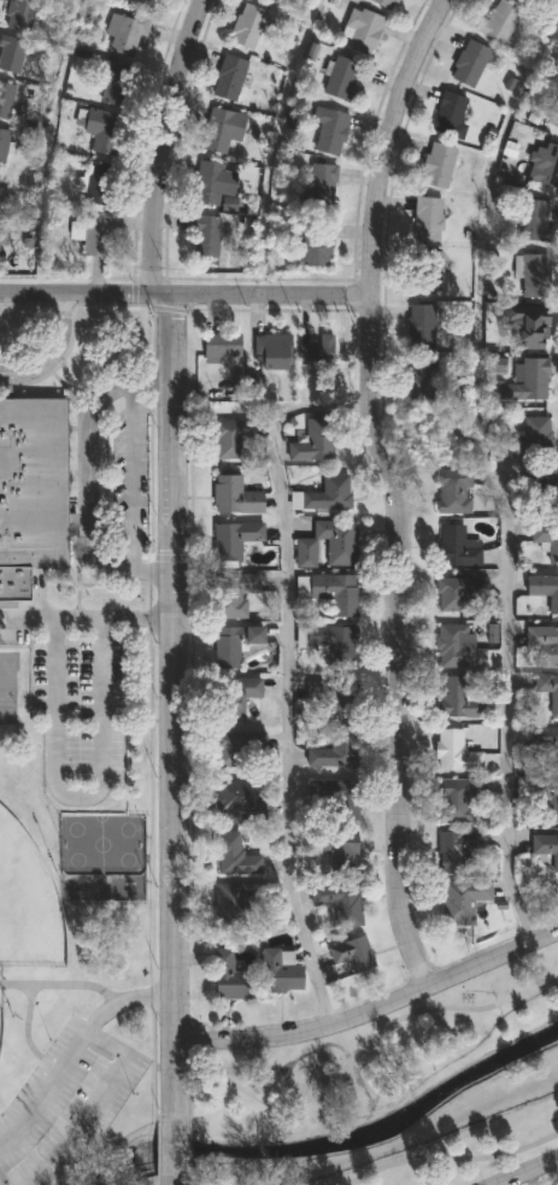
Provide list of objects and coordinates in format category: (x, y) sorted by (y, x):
building: (272, 0)
building: (143, 4)
building: (384, 4)
building: (20, 14)
building: (499, 22)
building: (248, 27)
building: (363, 31)
building: (127, 36)
building: (12, 53)
building: (470, 63)
building: (230, 77)
building: (343, 80)
building: (117, 84)
building: (6, 100)
building: (452, 115)
building: (554, 116)
building: (223, 129)
building: (105, 131)
building: (331, 133)
road: (48, 139)
building: (4, 143)
road: (270, 143)
road: (160, 145)
building: (545, 164)
building: (439, 165)
building: (215, 182)
building: (99, 183)
building: (322, 186)
building: (4, 199)
building: (428, 219)
building: (535, 222)
building: (98, 234)
building: (212, 236)
building: (1, 247)
building: (317, 248)
building: (428, 271)
building: (535, 276)
road: (84, 293)
road: (266, 295)
building: (422, 327)
building: (535, 329)
building: (223, 347)
road: (52, 352)
building: (272, 352)
building: (316, 352)
building: (422, 380)
building: (527, 380)
building: (251, 382)
building: (231, 438)
building: (534, 438)
building: (315, 441)
parking lot: (127, 477)
road: (493, 477)
road: (130, 479)
road: (87, 481)
building: (540, 486)
road: (389, 488)
building: (456, 492)
building: (33, 494)
building: (330, 494)
building: (236, 497)
building: (547, 539)
building: (234, 540)
building: (330, 544)
building: (458, 547)
building: (458, 592)
building: (336, 593)
building: (234, 594)
building: (544, 596)
road: (90, 621)
building: (235, 644)
building: (334, 644)
building: (459, 647)
building: (546, 647)
road: (284, 673)
building: (548, 690)
parking lot: (72, 697)
building: (235, 698)
building: (340, 698)
building: (459, 698)
road: (171, 706)
building: (241, 750)
building: (548, 750)
building: (336, 751)
building: (456, 752)
building: (547, 796)
road: (77, 799)
building: (334, 800)
building: (457, 802)
building: (237, 803)
building: (546, 849)
building: (337, 850)
building: (458, 852)
building: (235, 856)
building: (463, 901)
building: (241, 902)
building: (340, 904)
park: (25, 905)
building: (352, 956)
building: (282, 973)
park: (69, 974)
building: (230, 979)
road: (63, 987)
road: (122, 1003)
road: (369, 1013)
park: (0, 1019)
road: (29, 1023)
road: (348, 1062)
road: (46, 1091)
park: (393, 1093)
parking lot: (65, 1103)
road: (95, 1103)
road: (192, 1148)
road: (170, 1149)
road: (453, 1160)
road: (525, 1171)
road: (192, 1180)
road: (170, 1181)

